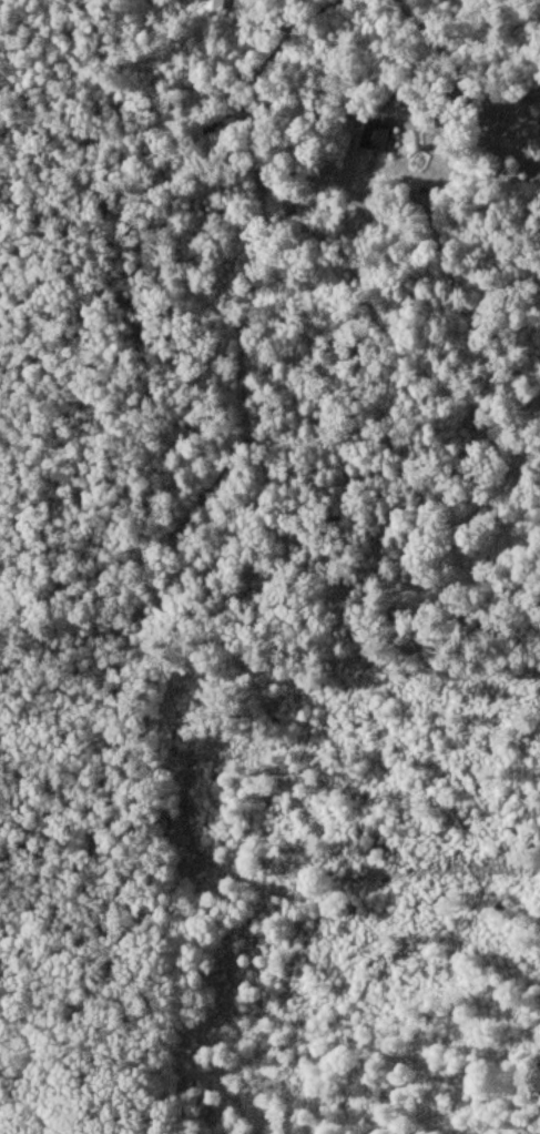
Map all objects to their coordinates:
building: (211, 6)
building: (375, 135)

